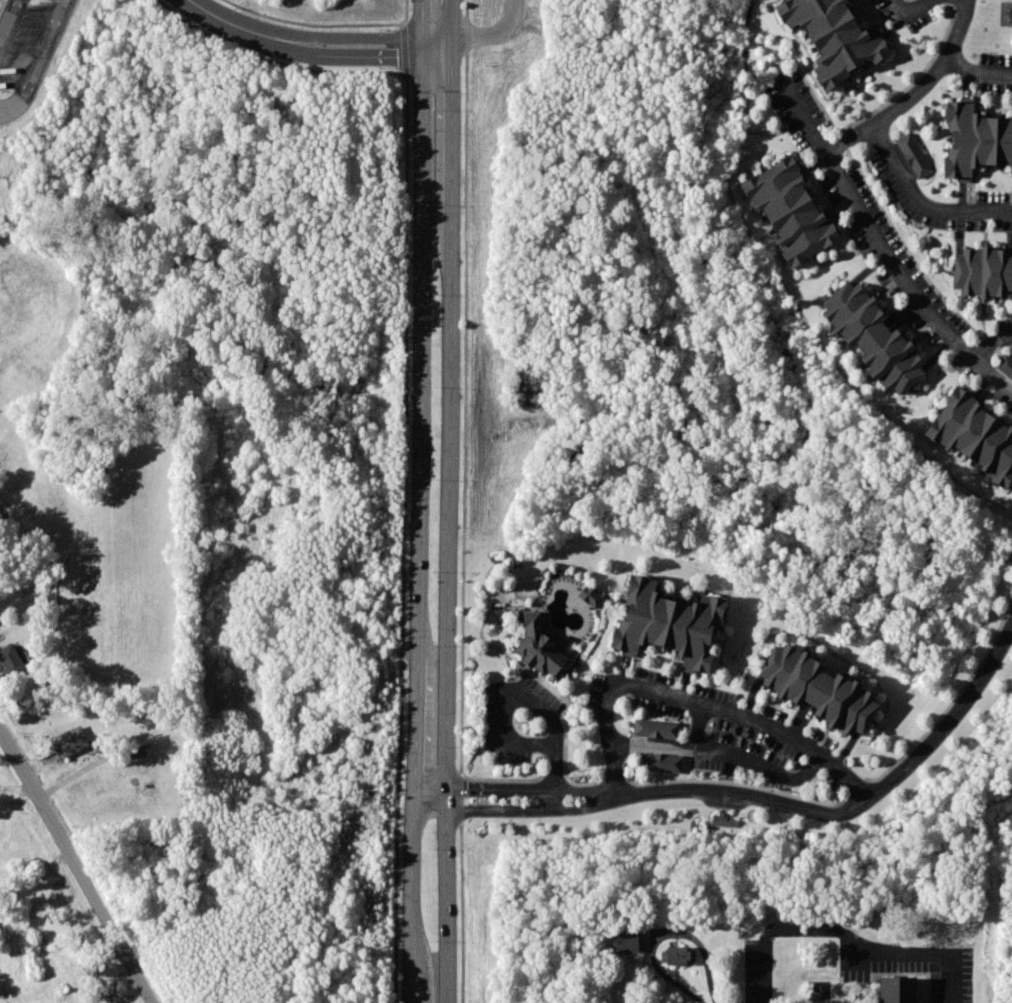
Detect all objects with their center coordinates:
road: (965, 0)
road: (1, 4)
road: (406, 12)
road: (905, 17)
road: (8, 19)
road: (465, 20)
road: (316, 22)
road: (240, 26)
road: (494, 33)
road: (373, 36)
building: (836, 37)
parking lot: (20, 39)
road: (403, 48)
road: (374, 56)
road: (274, 60)
road: (40, 64)
road: (802, 73)
road: (975, 76)
road: (802, 115)
building: (977, 140)
building: (913, 154)
road: (847, 185)
road: (921, 204)
building: (794, 212)
building: (985, 272)
road: (788, 294)
building: (876, 338)
road: (992, 342)
building: (1005, 365)
building: (977, 434)
road: (415, 501)
road: (449, 501)
building: (590, 595)
building: (672, 626)
building: (539, 645)
building: (13, 661)
building: (821, 691)
road: (698, 706)
building: (654, 728)
road: (696, 728)
road: (941, 730)
road: (555, 740)
building: (72, 741)
road: (724, 752)
building: (661, 762)
park: (6, 771)
road: (530, 787)
road: (723, 788)
road: (436, 797)
road: (531, 807)
road: (78, 866)
road: (780, 925)
building: (624, 940)
building: (678, 955)
road: (929, 957)
road: (655, 965)
parking lot: (914, 966)
parking lot: (759, 969)
building: (902, 990)

